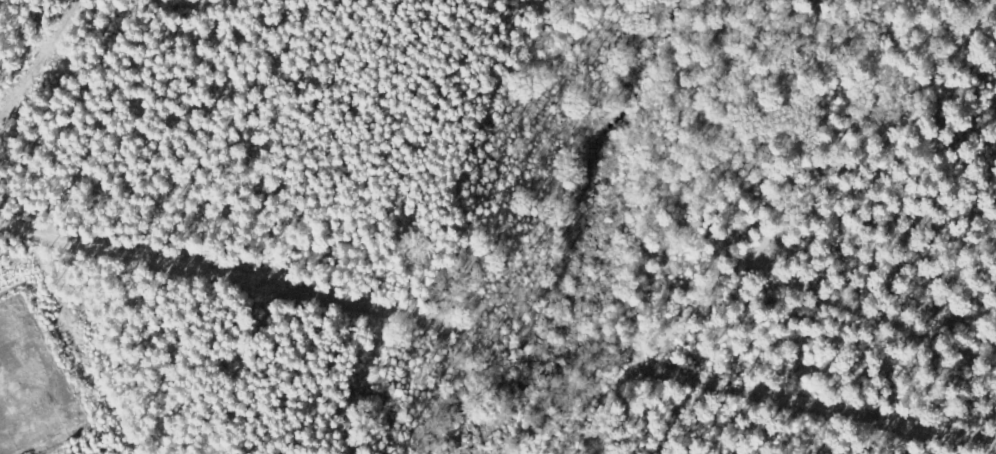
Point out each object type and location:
road: (46, 71)

